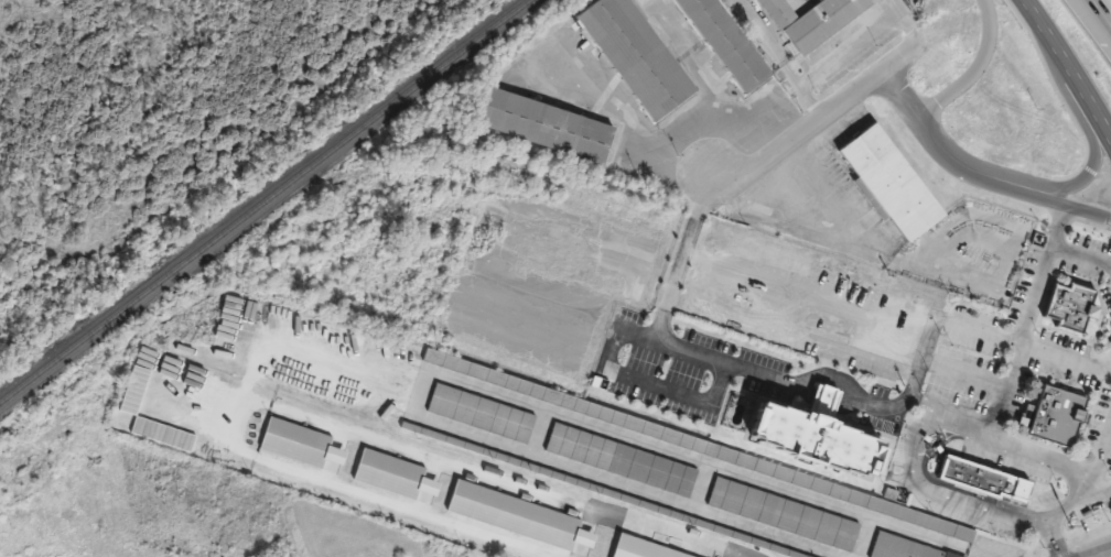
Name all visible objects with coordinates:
road: (1033, 10)
road: (1101, 13)
building: (815, 21)
building: (727, 44)
road: (843, 50)
building: (639, 56)
road: (975, 68)
road: (1071, 70)
road: (819, 119)
building: (548, 127)
road: (1107, 129)
road: (635, 130)
road: (946, 150)
road: (1086, 173)
building: (892, 184)
road: (841, 187)
railway: (262, 200)
road: (1071, 210)
road: (1055, 228)
road: (1079, 259)
building: (1071, 307)
road: (1021, 345)
road: (1066, 359)
road: (964, 372)
road: (786, 381)
road: (925, 407)
building: (483, 414)
building: (1056, 414)
road: (937, 419)
building: (812, 430)
building: (298, 444)
road: (1101, 451)
building: (623, 460)
road: (459, 467)
building: (391, 474)
building: (982, 476)
road: (1097, 485)
road: (403, 506)
building: (785, 515)
building: (516, 516)
road: (1055, 546)
building: (905, 548)
building: (643, 549)
road: (1100, 553)

